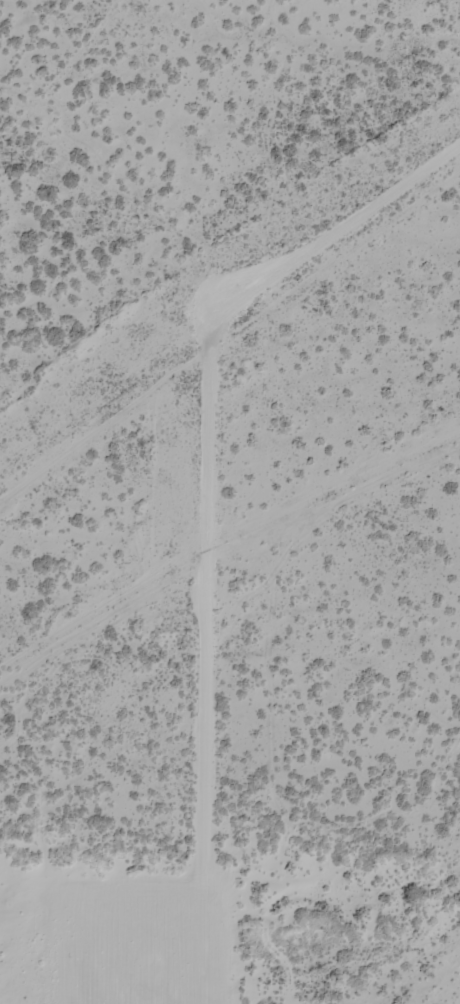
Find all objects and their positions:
power tower: (186, 259)
road: (204, 492)

